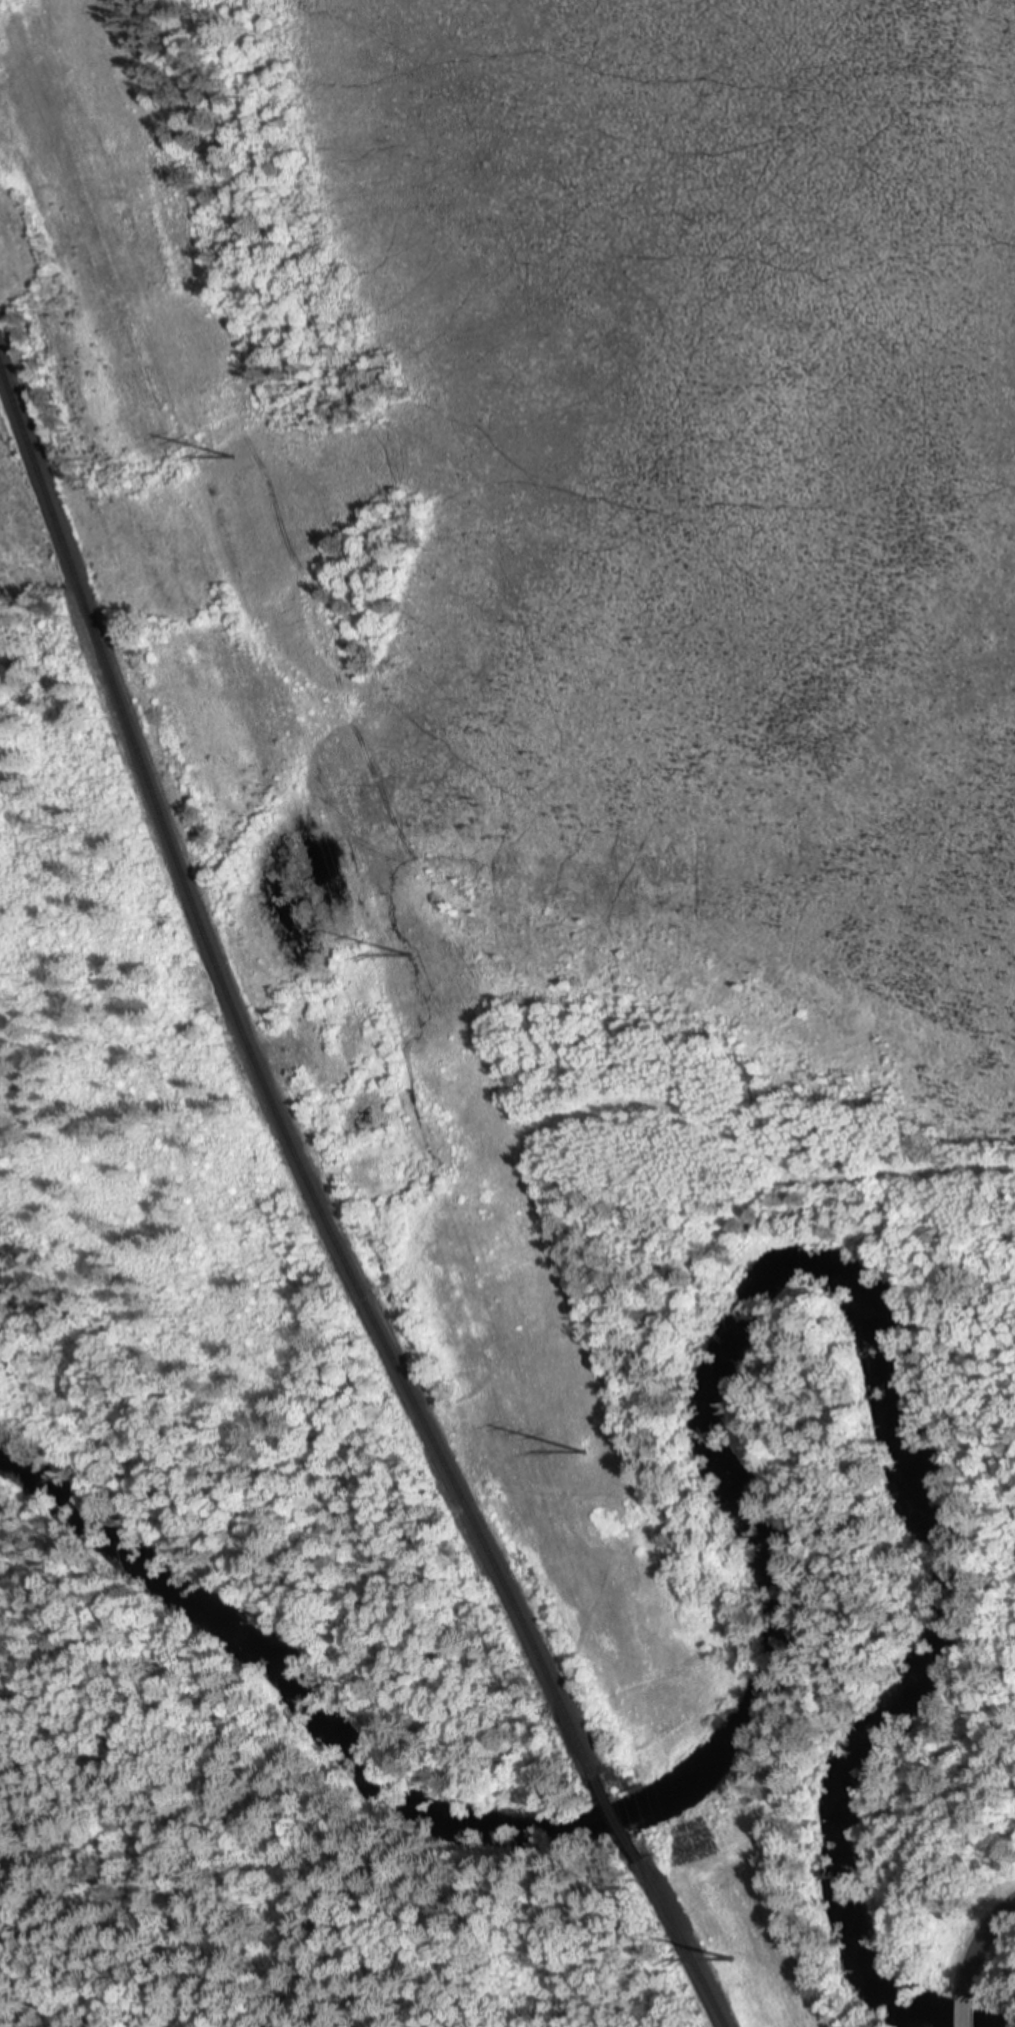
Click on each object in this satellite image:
power tower: (230, 459)
power tower: (411, 957)
railway: (265, 1091)
power tower: (584, 1452)
river: (746, 1519)
railway: (624, 1823)
railway: (685, 1945)
road: (981, 1947)
power tower: (730, 1959)
road: (968, 2013)
building: (969, 2013)

